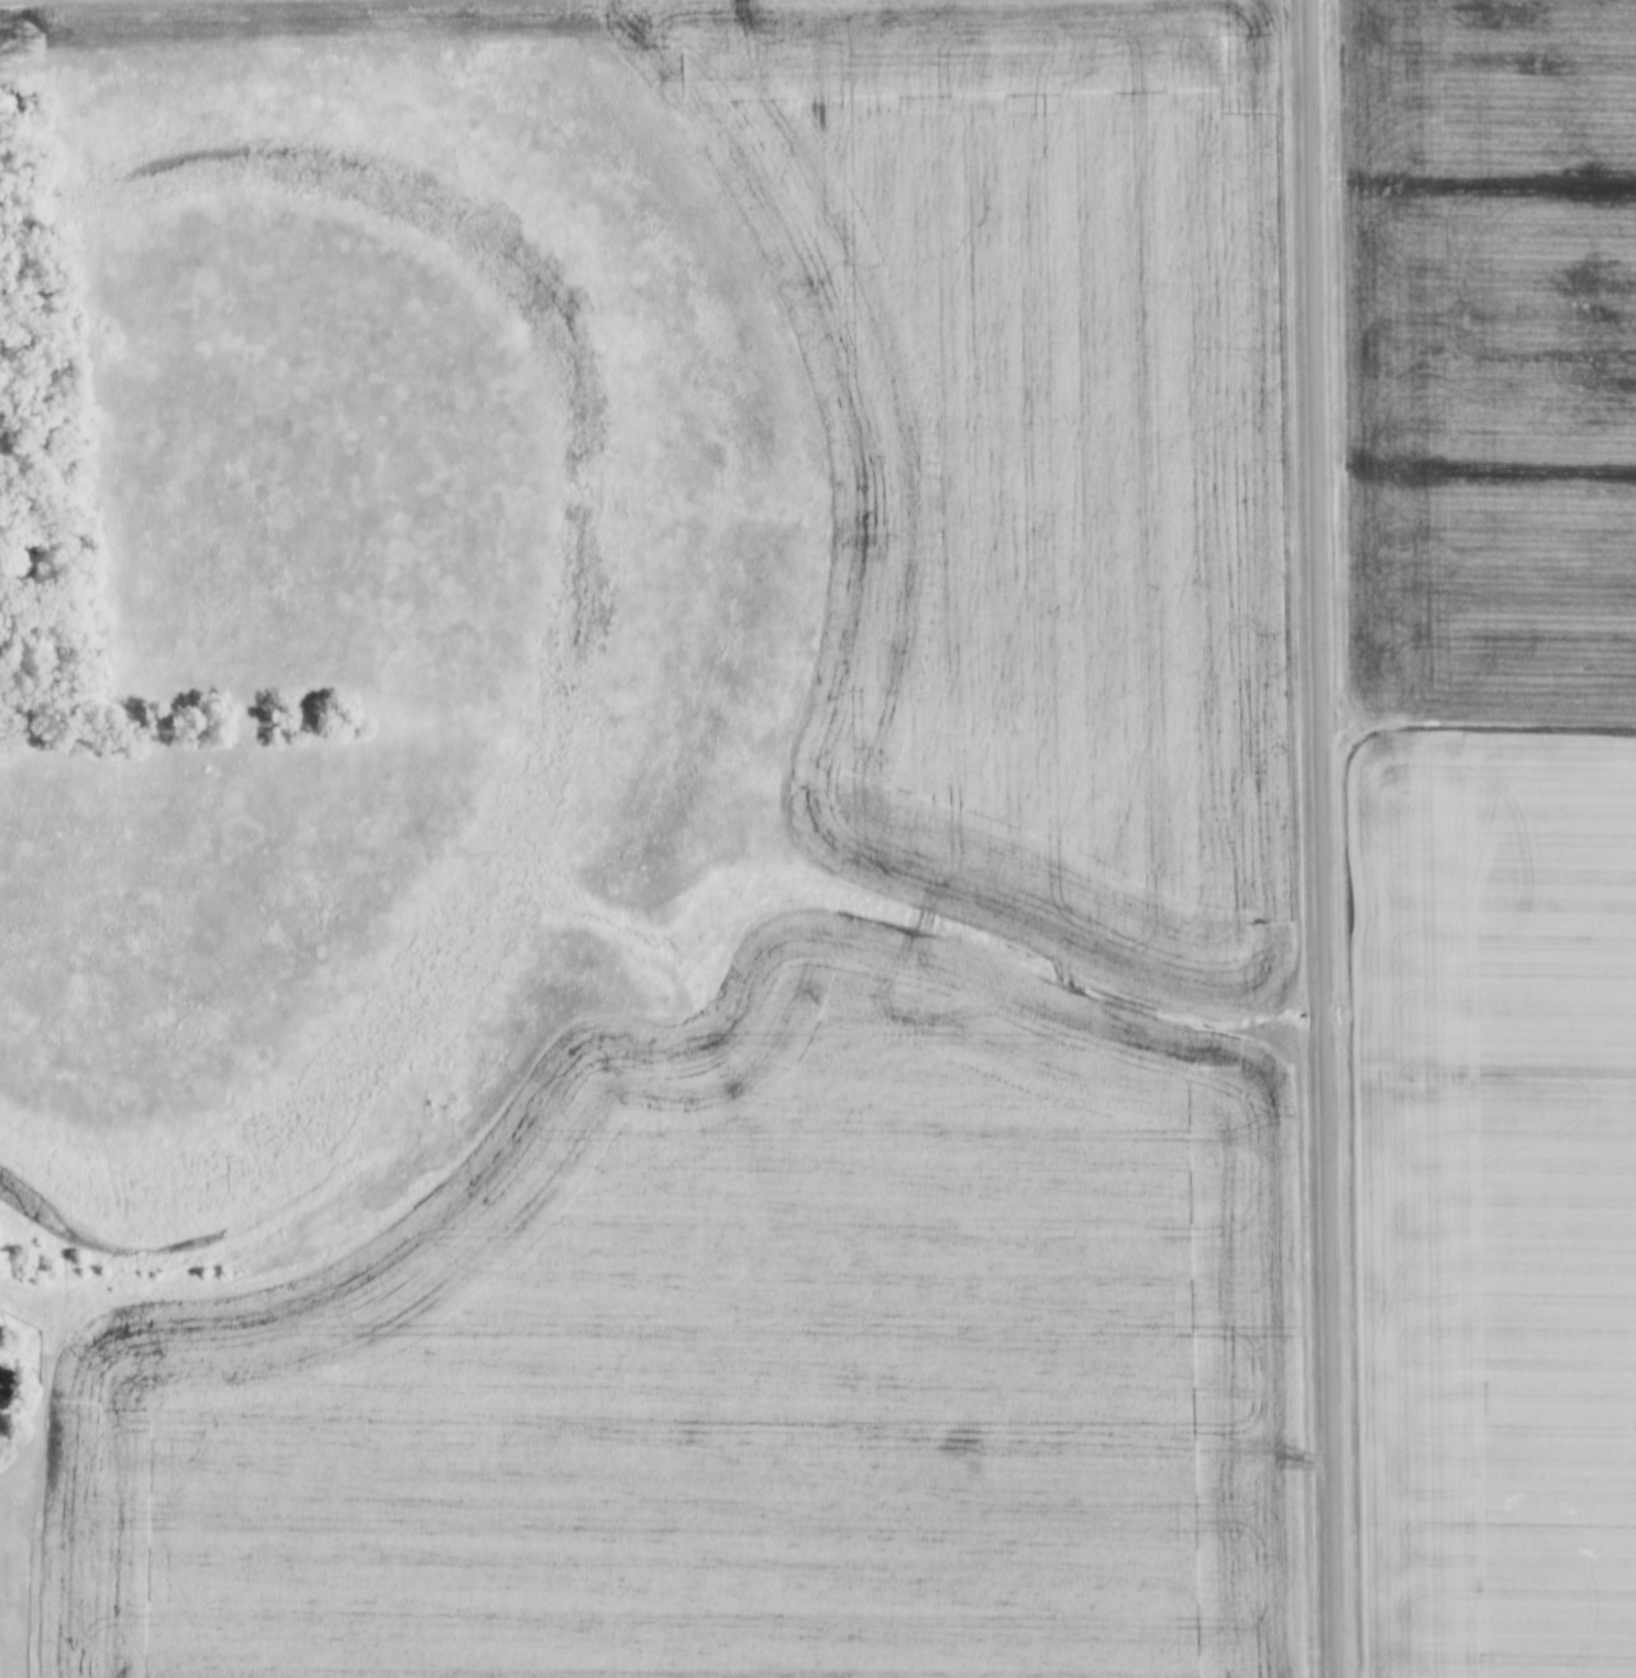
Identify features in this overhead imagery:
road: (1307, 839)

